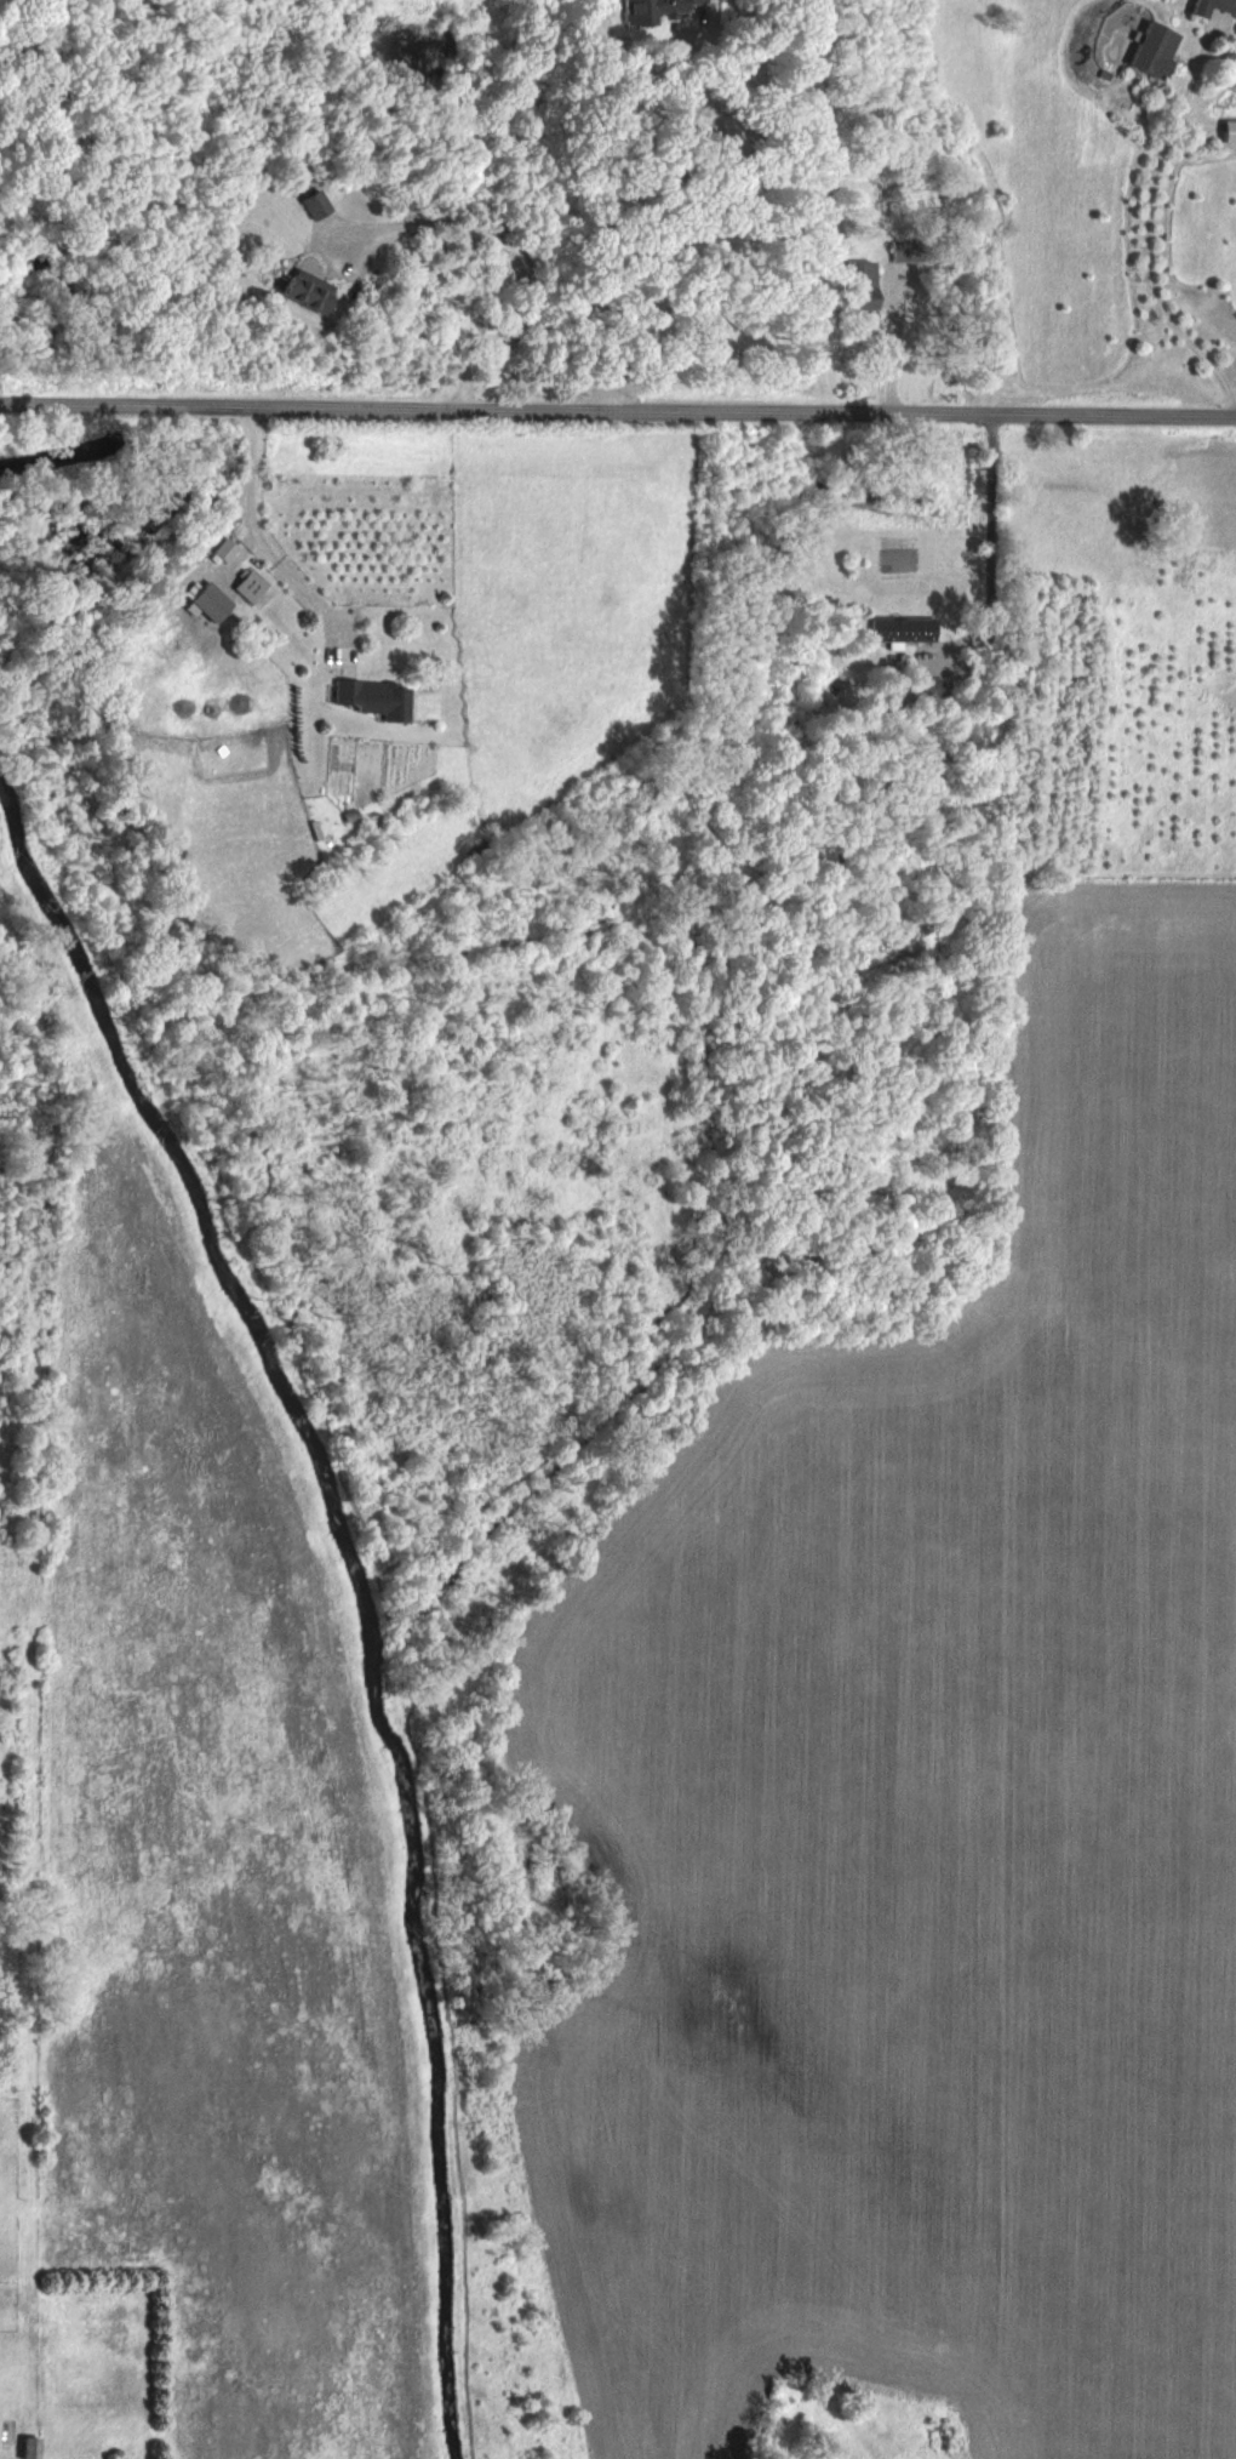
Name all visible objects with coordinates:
building: (1214, 7)
building: (650, 10)
road: (1217, 22)
road: (1234, 32)
building: (1123, 36)
building: (1155, 53)
building: (1105, 74)
road: (1196, 78)
road: (1213, 98)
building: (1229, 136)
road: (681, 178)
building: (311, 205)
road: (313, 233)
building: (903, 250)
road: (1150, 267)
road: (521, 268)
building: (856, 285)
building: (303, 291)
road: (891, 346)
road: (600, 364)
road: (1235, 395)
road: (618, 407)
road: (257, 542)
road: (984, 560)
building: (248, 584)
building: (207, 601)
building: (900, 627)
building: (926, 686)
building: (371, 696)
building: (25, 2448)

